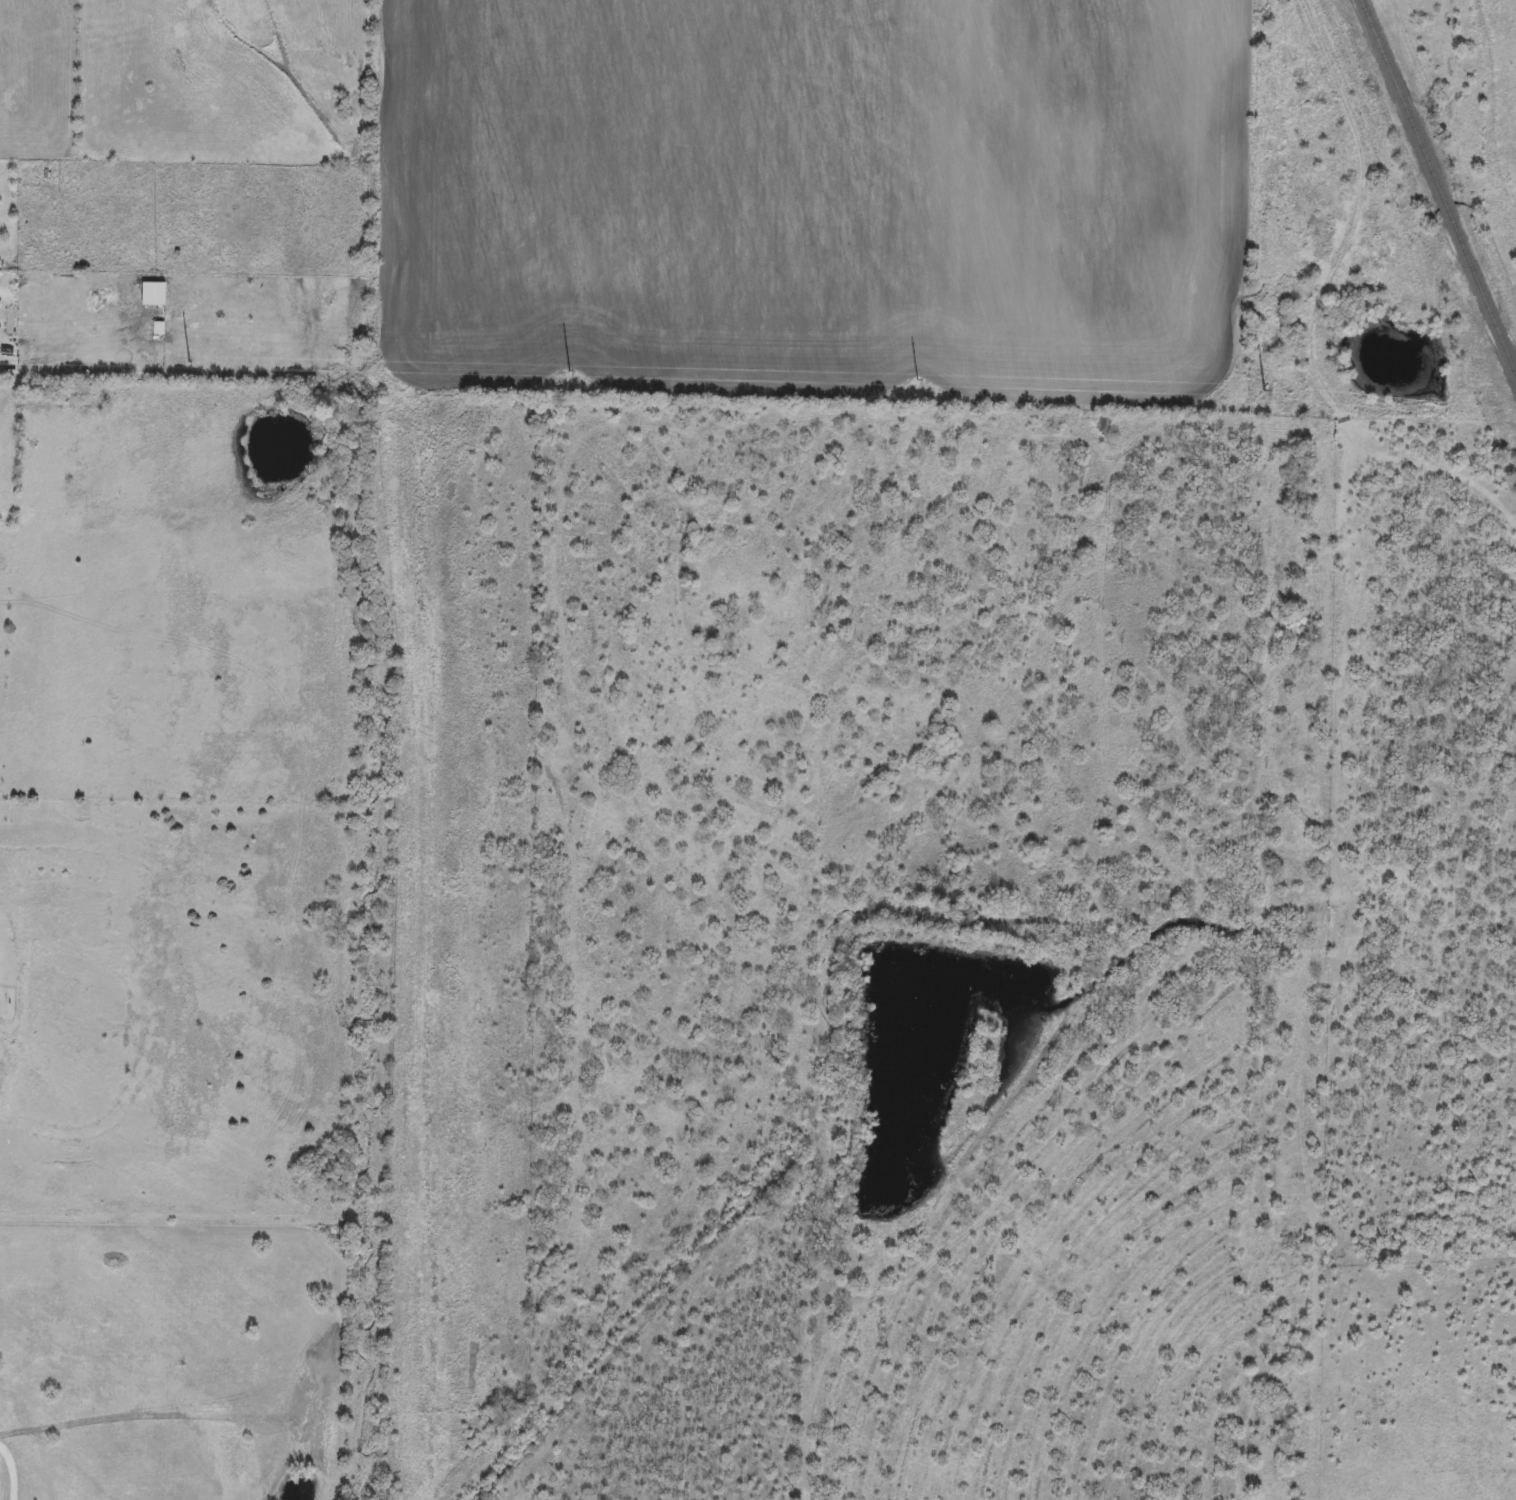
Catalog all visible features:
railway: (1438, 187)
building: (153, 296)

